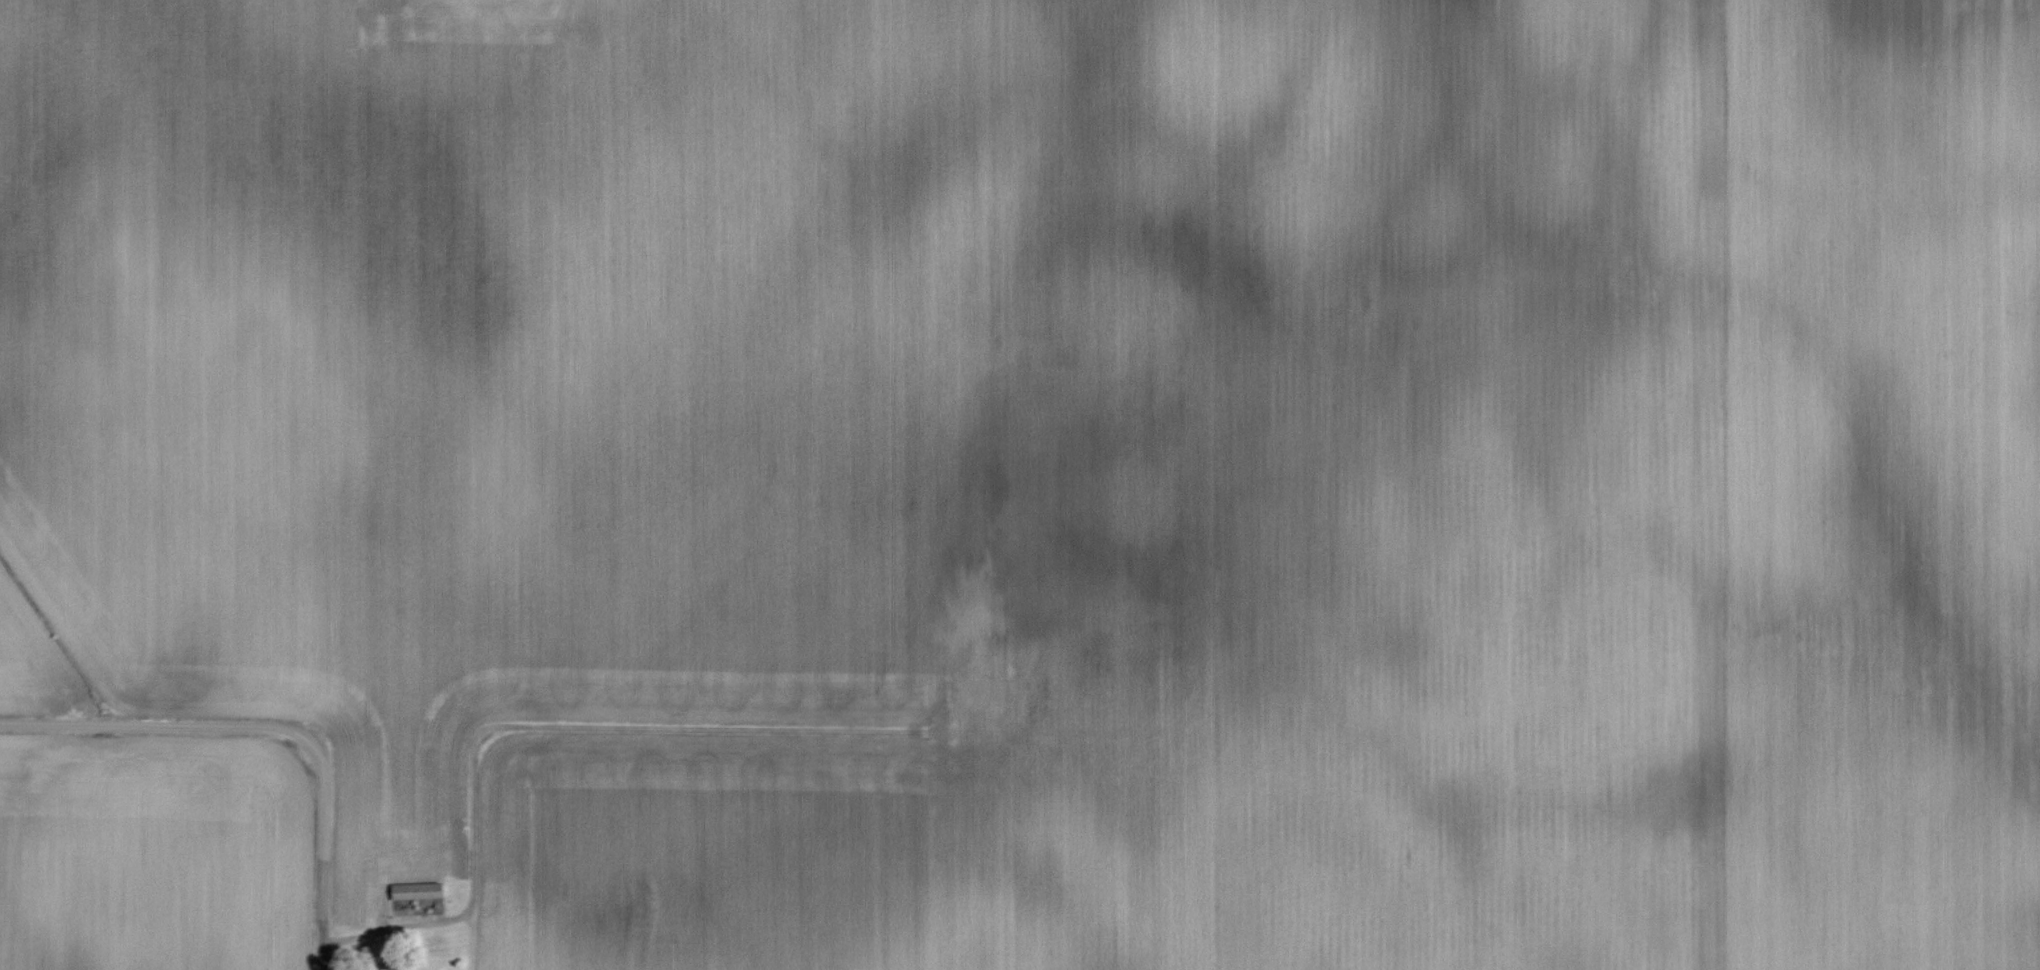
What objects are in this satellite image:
road: (571, 723)
road: (152, 724)
road: (324, 847)
building: (419, 889)

